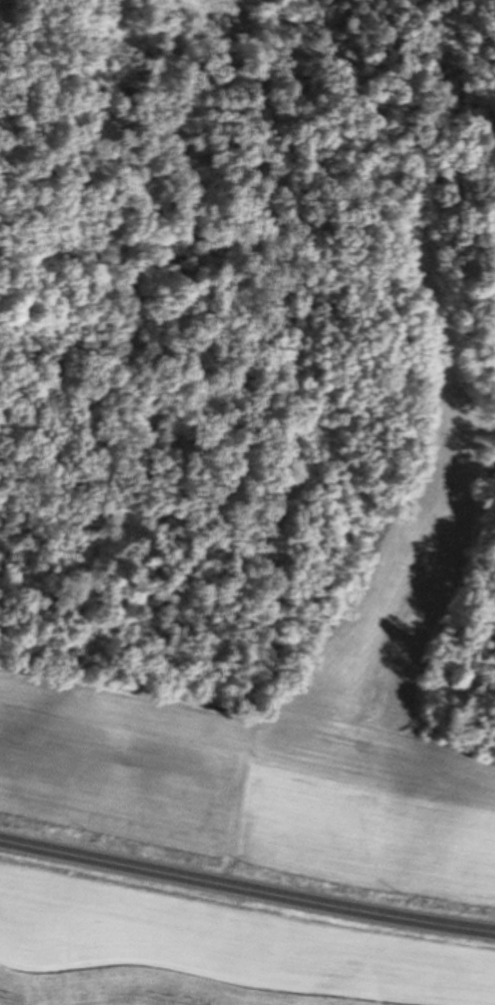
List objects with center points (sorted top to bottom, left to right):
road: (247, 887)

